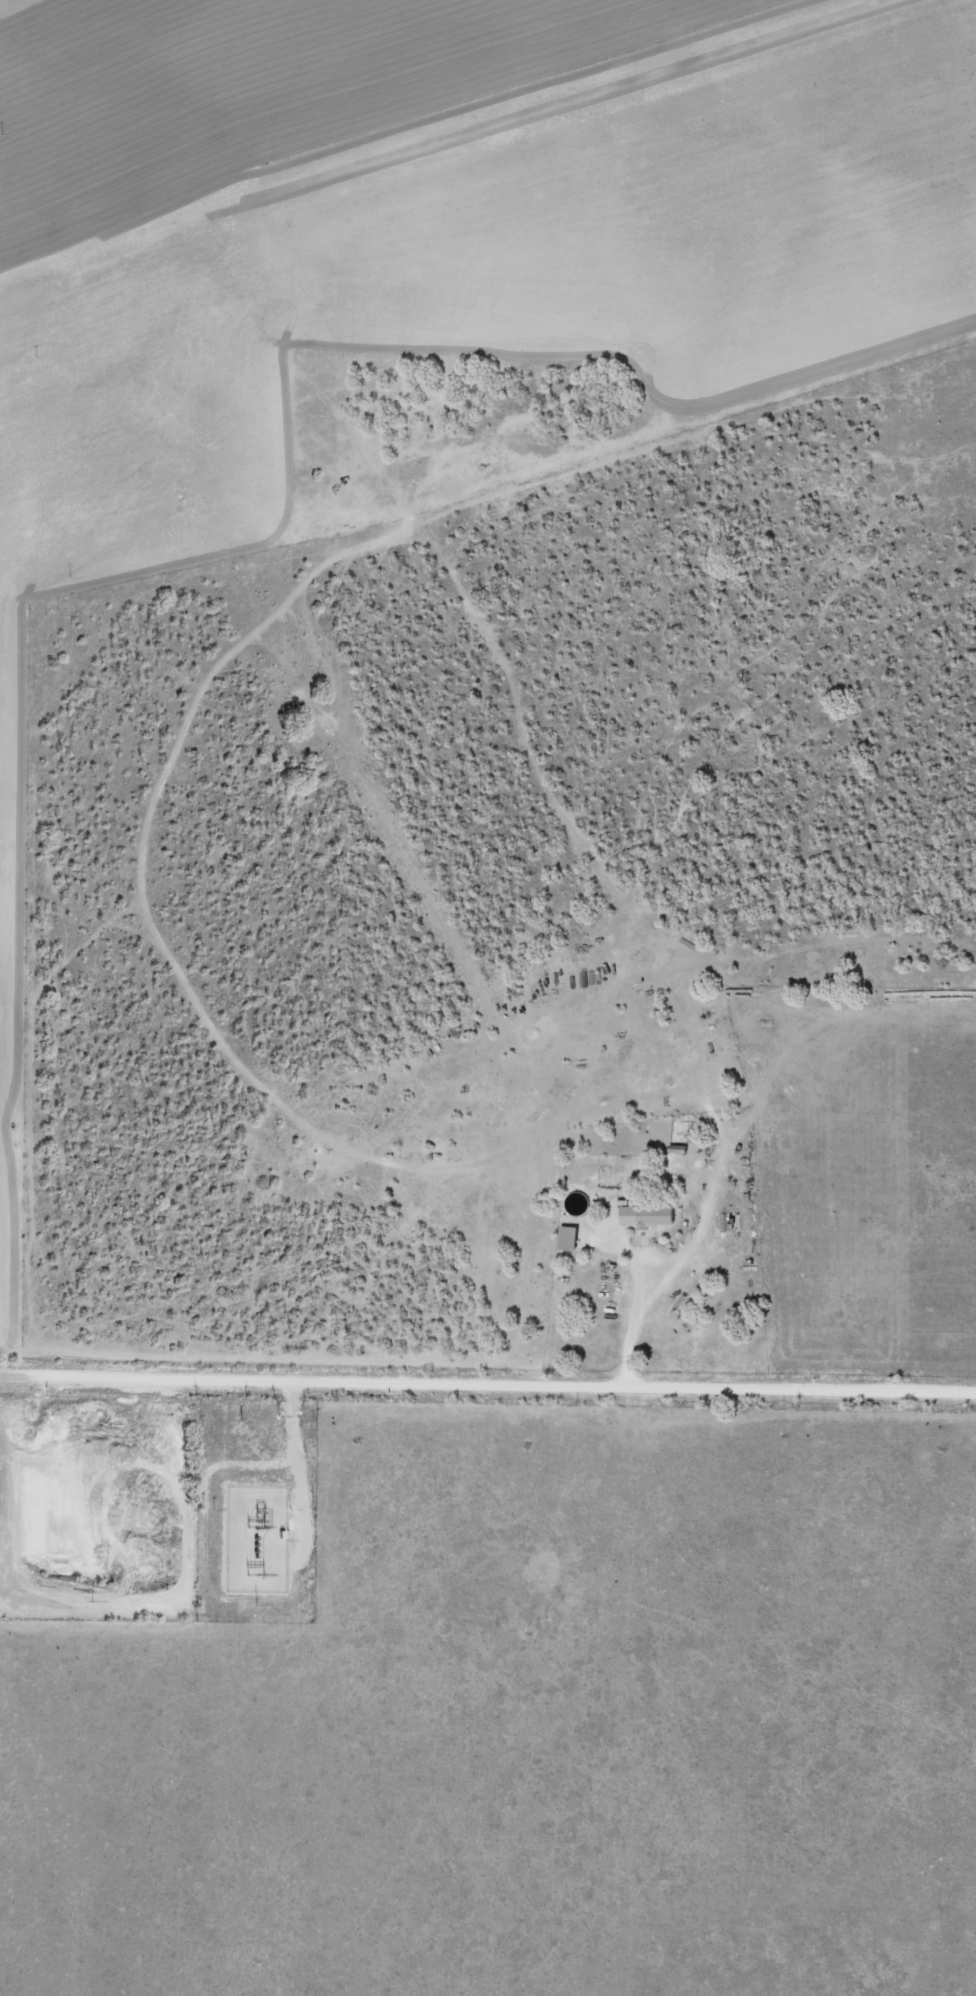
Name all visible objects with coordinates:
railway: (429, 124)
building: (651, 1215)
building: (572, 1238)
road: (488, 1396)
power substation: (257, 1540)

